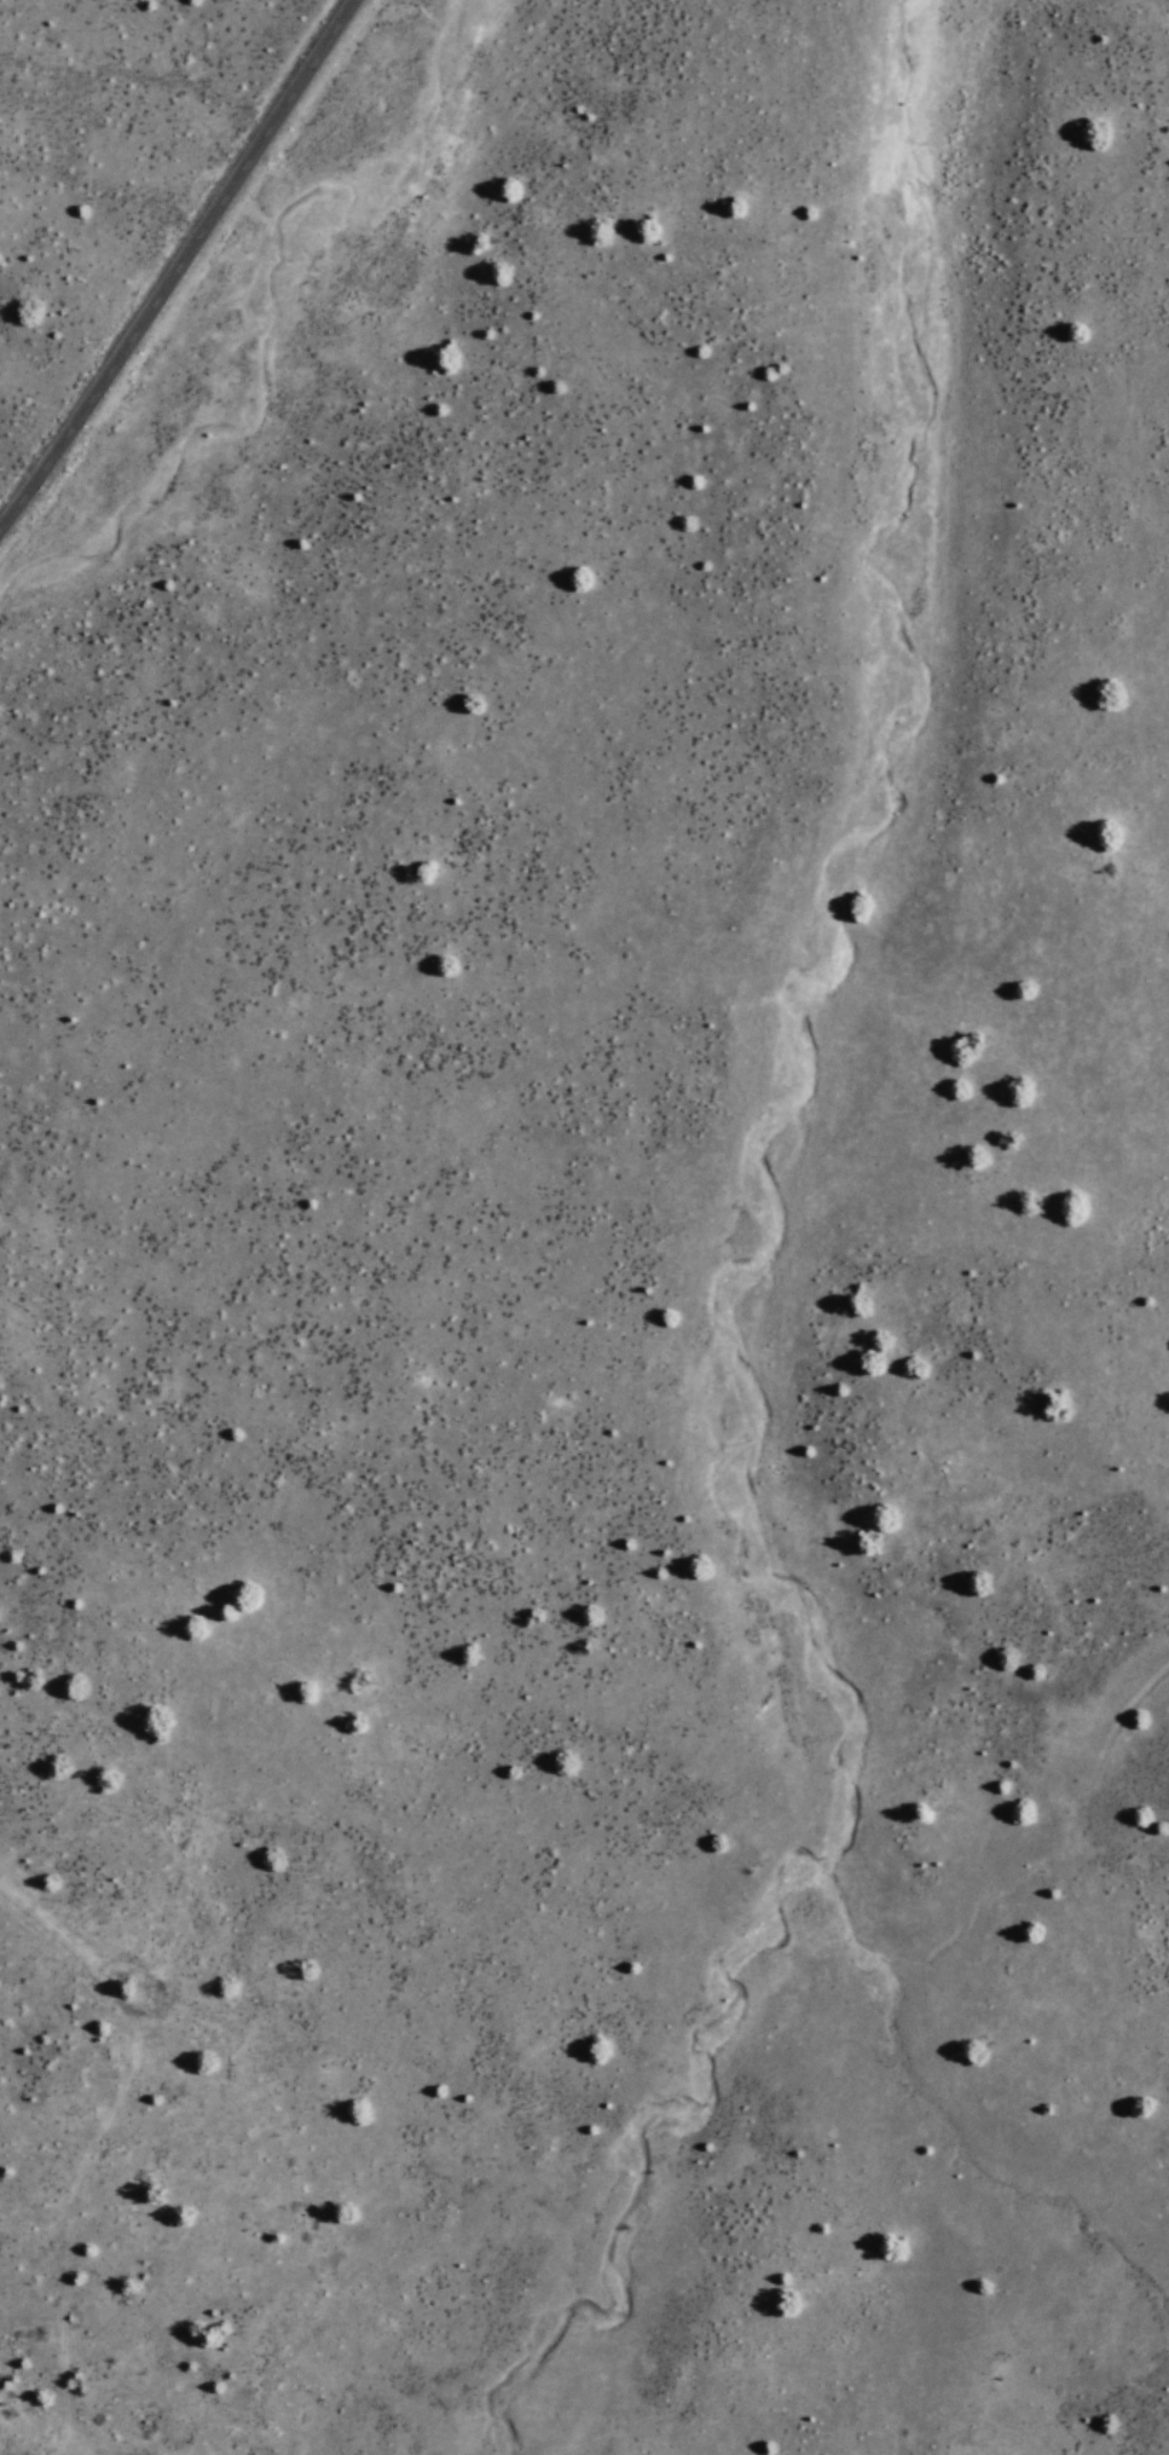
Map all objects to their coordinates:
road: (183, 270)

